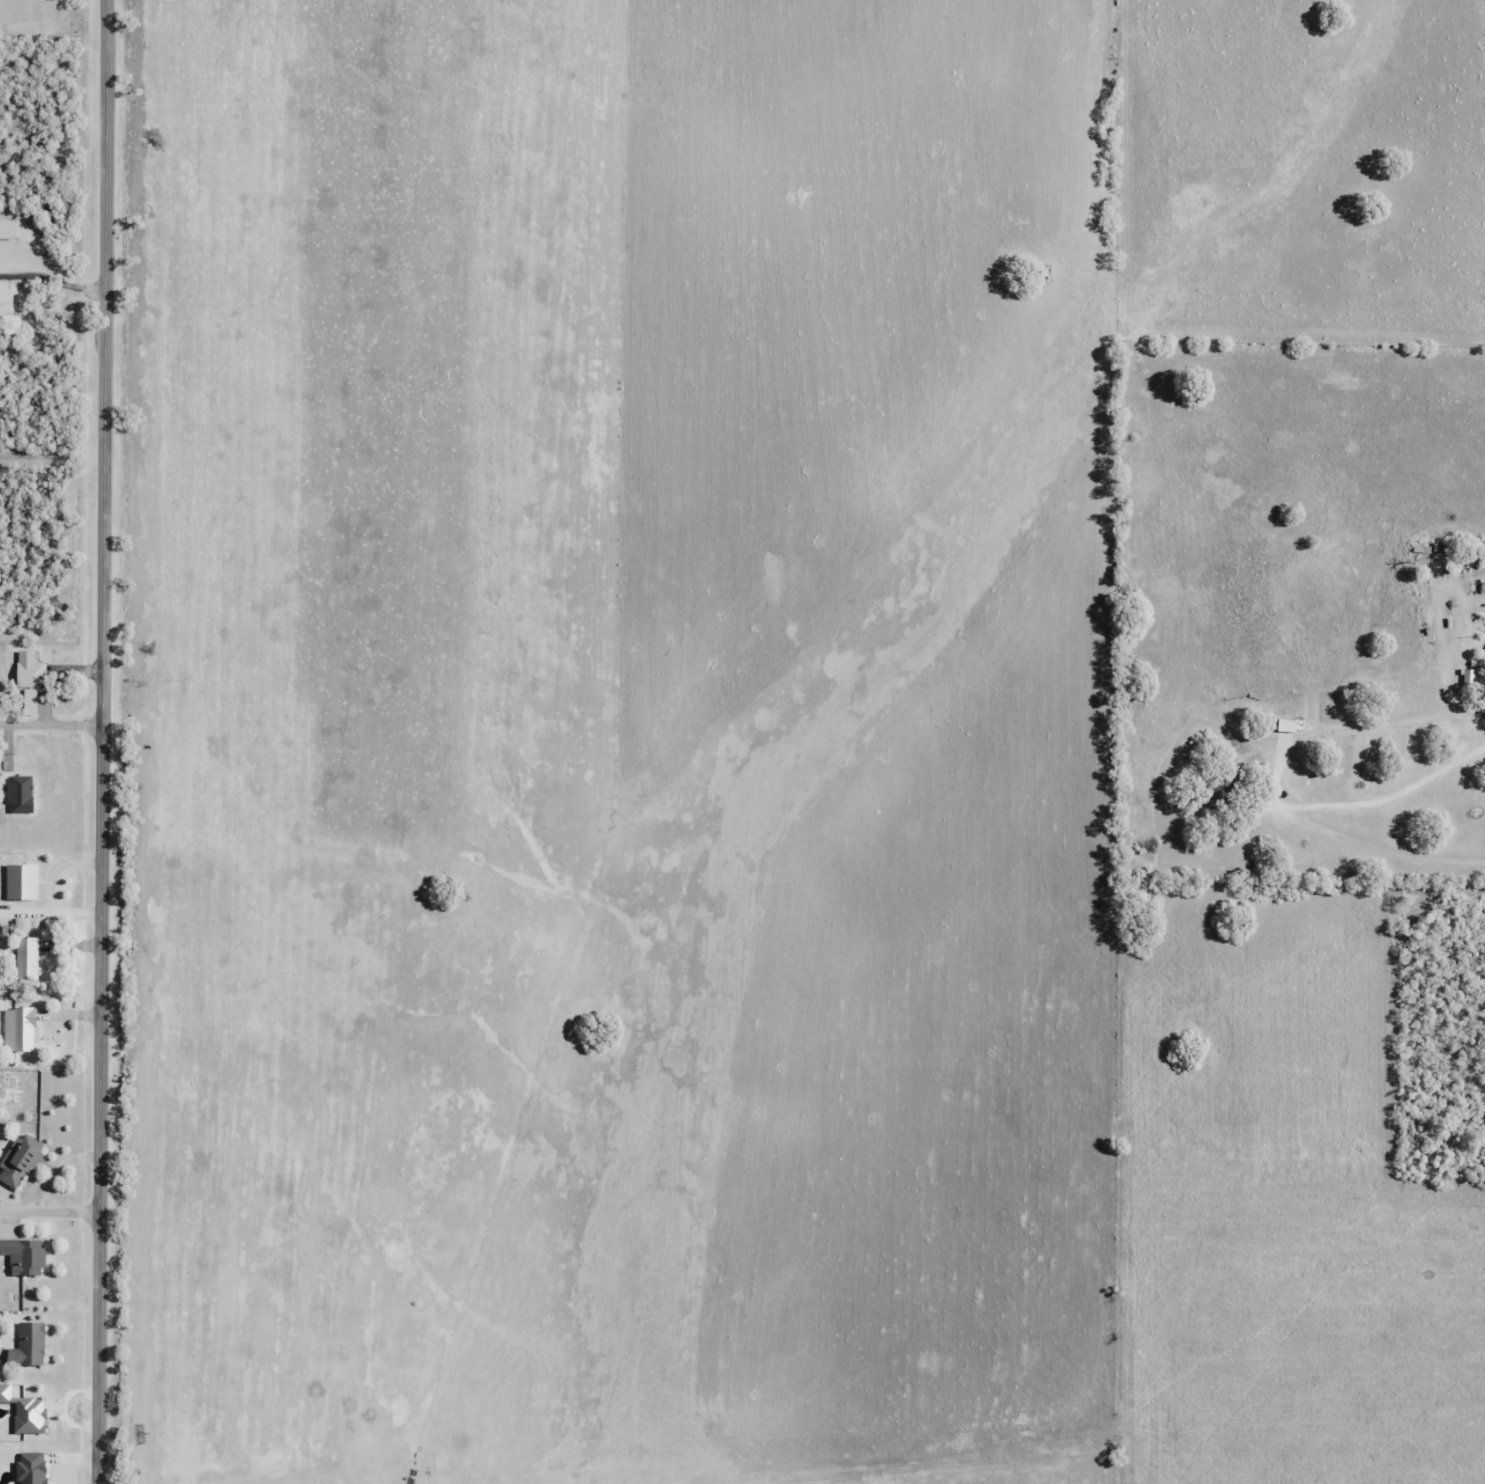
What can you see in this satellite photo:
building: (7, 229)
building: (5, 300)
building: (28, 677)
road: (52, 725)
road: (104, 742)
road: (1282, 809)
building: (25, 958)
building: (19, 1028)
building: (18, 1159)
road: (51, 1212)
building: (24, 1256)
building: (27, 1345)

